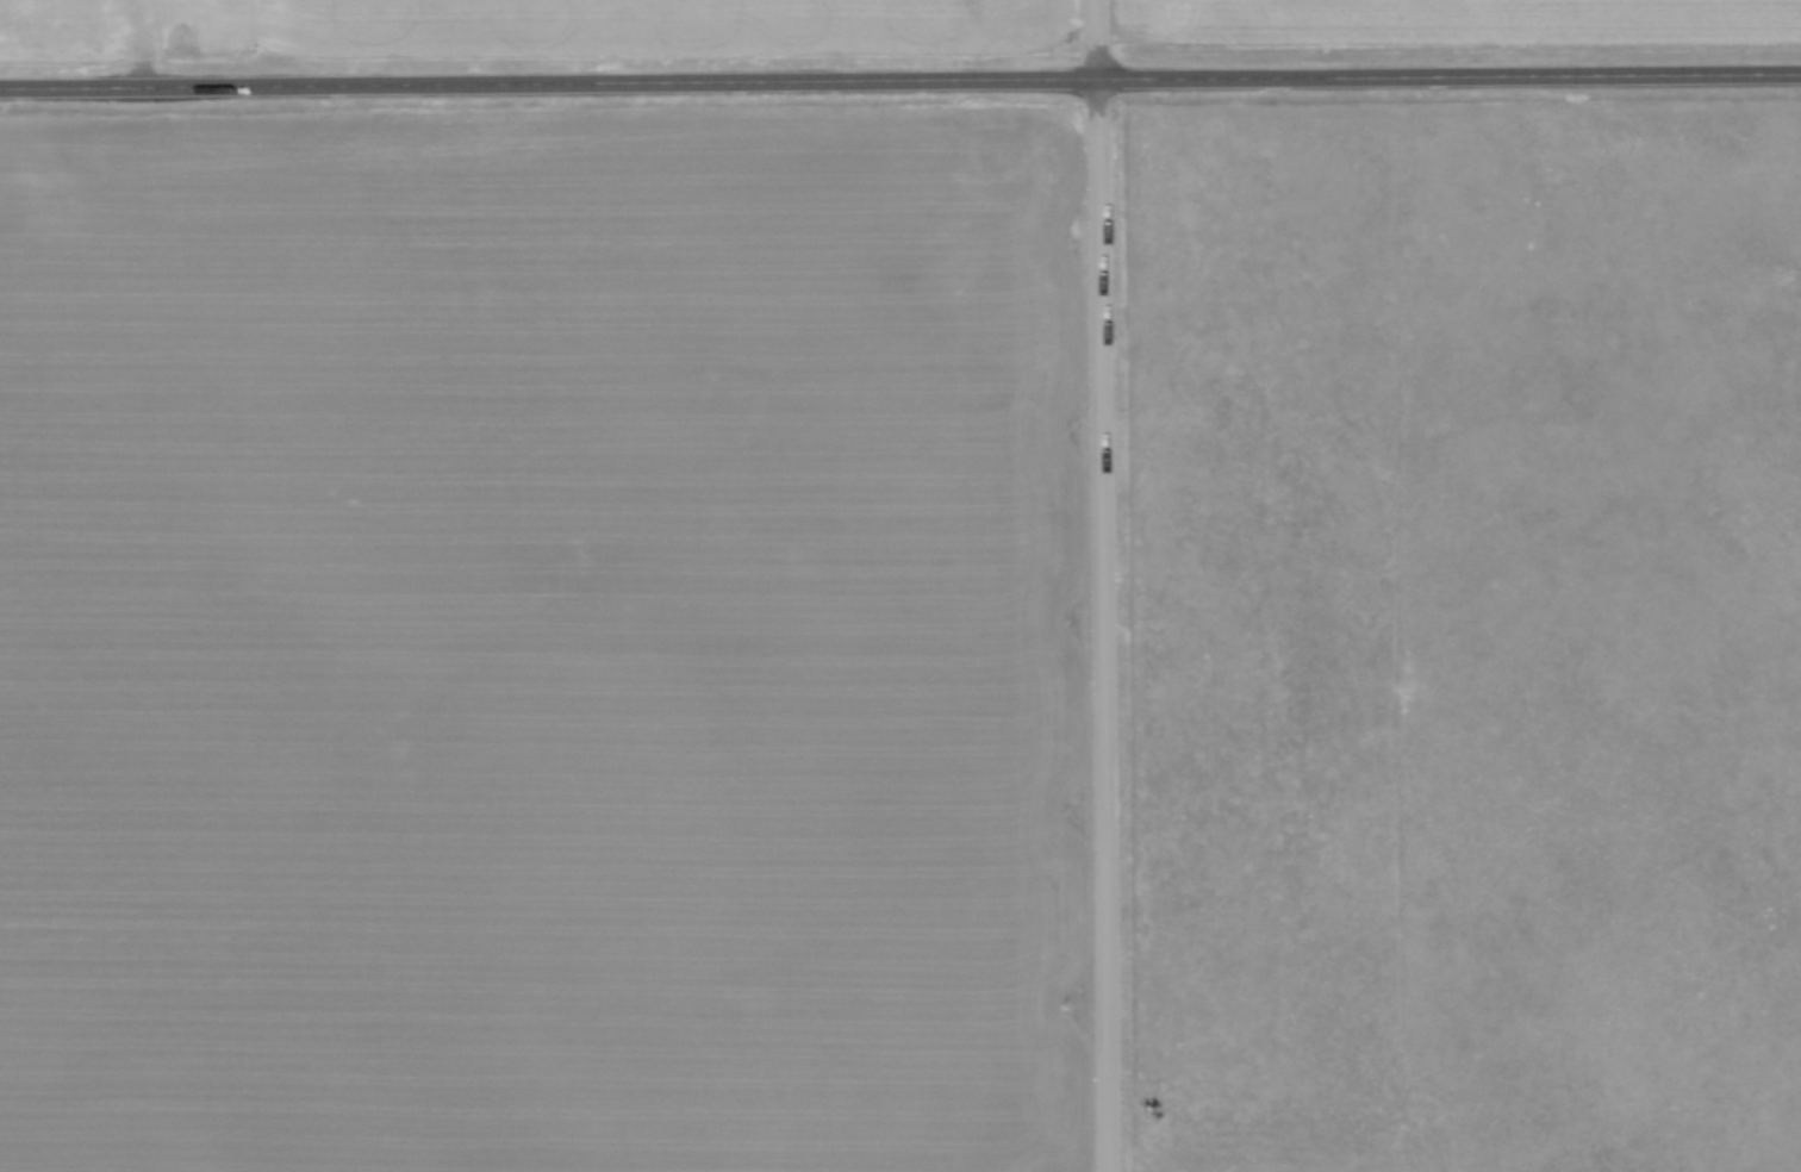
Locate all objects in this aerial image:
crop: (1464, 25)
crop: (519, 27)
road: (899, 80)
road: (1103, 586)
crop: (543, 642)

